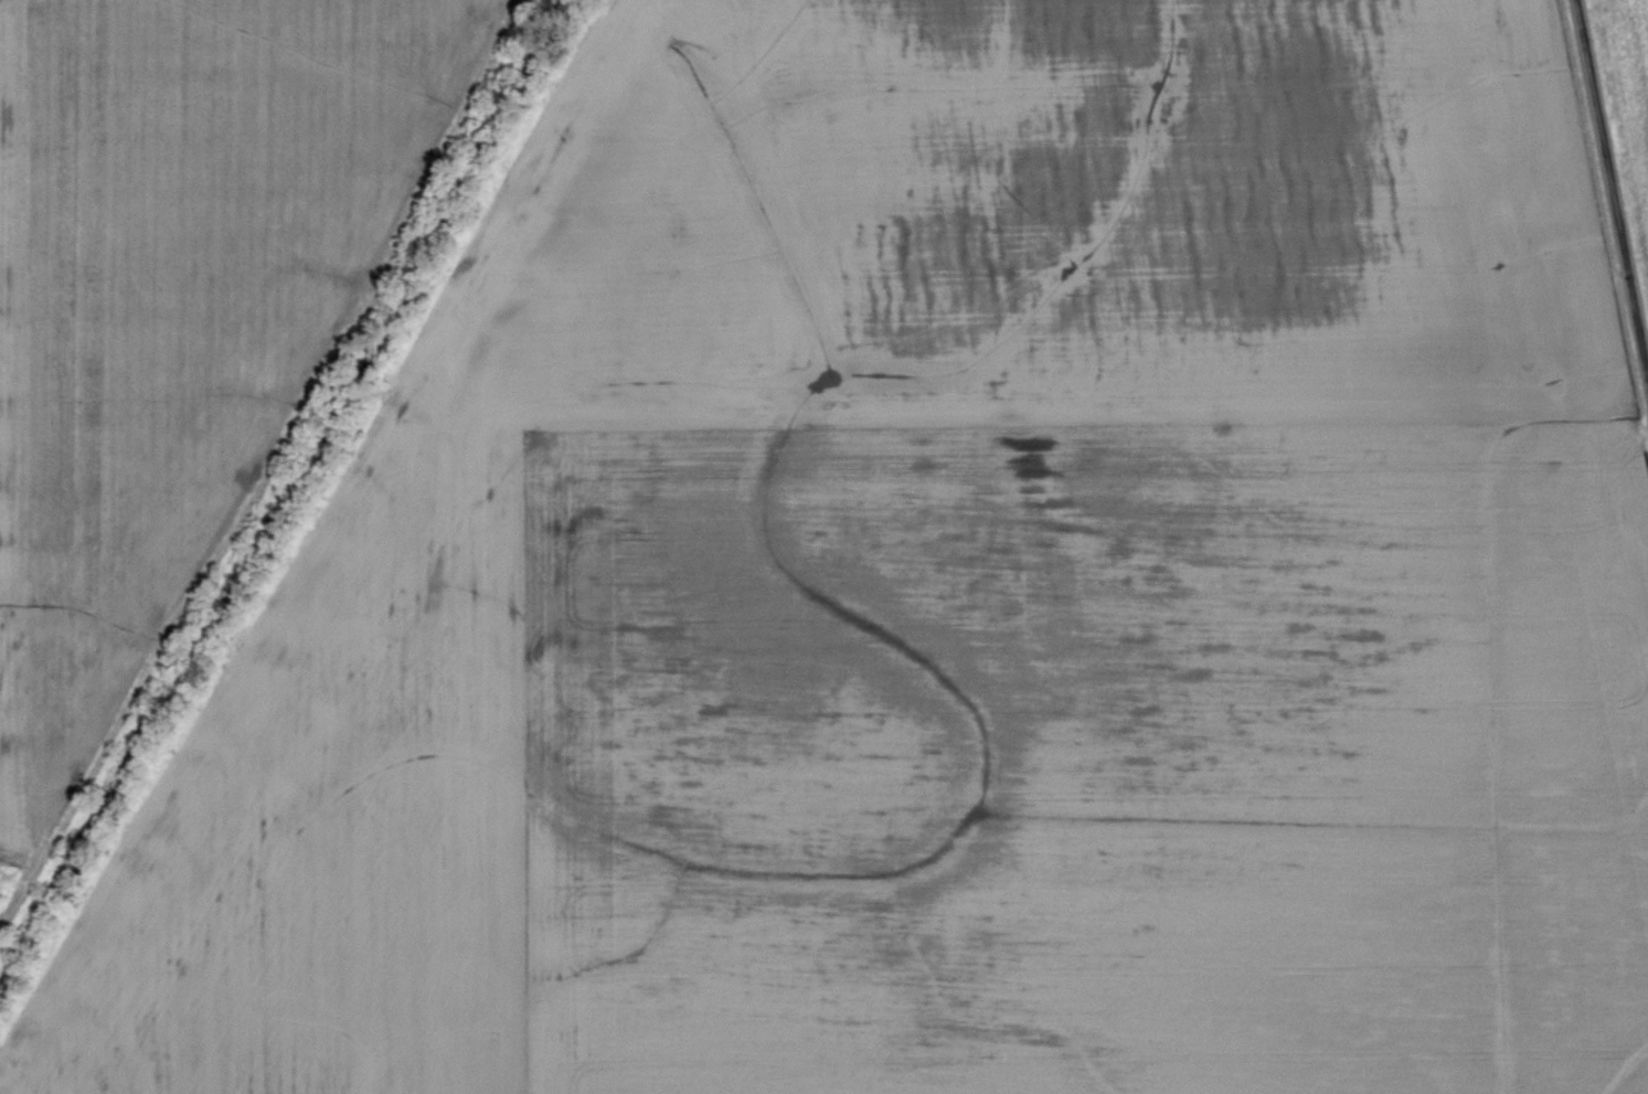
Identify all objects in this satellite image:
road: (1582, 343)

